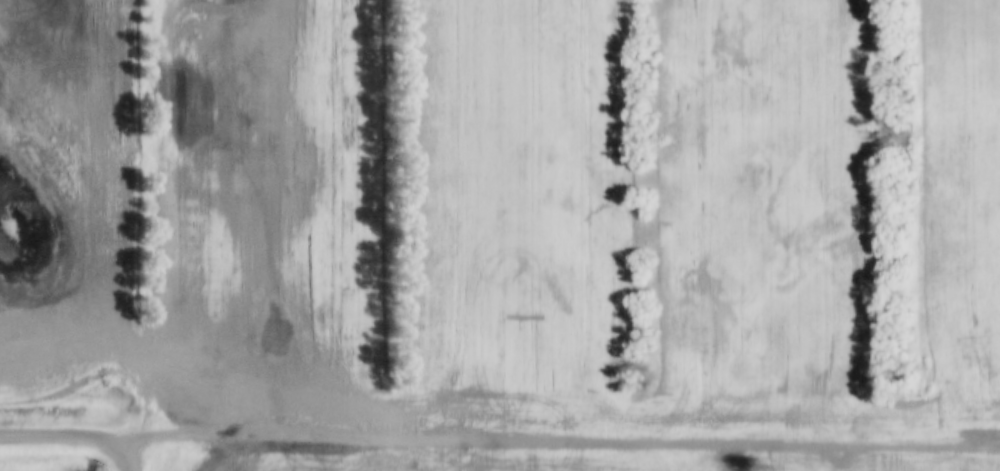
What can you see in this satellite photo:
road: (65, 430)
road: (565, 430)
road: (132, 452)

